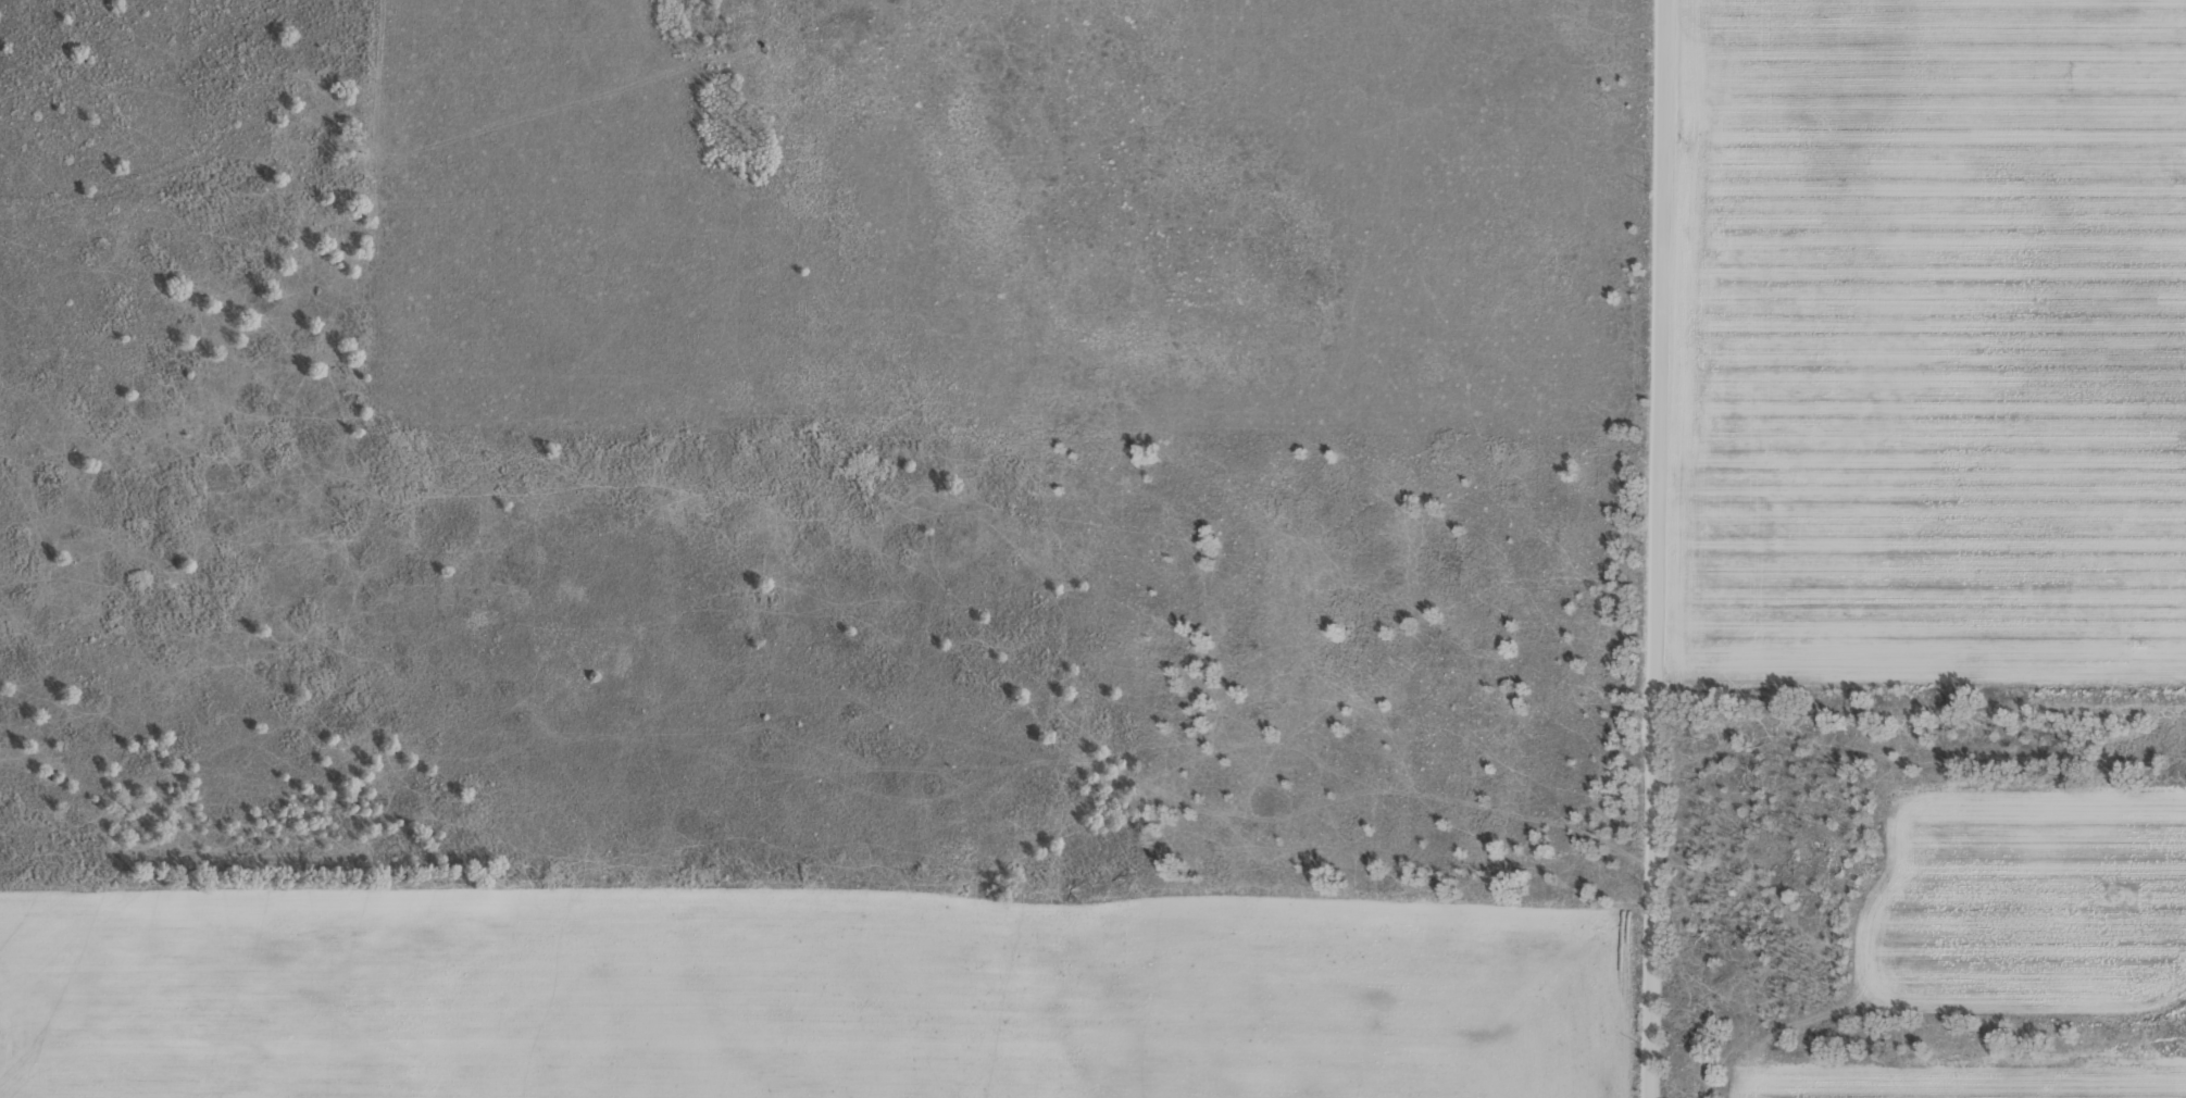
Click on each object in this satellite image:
crop: (1092, 549)
road: (1659, 549)

